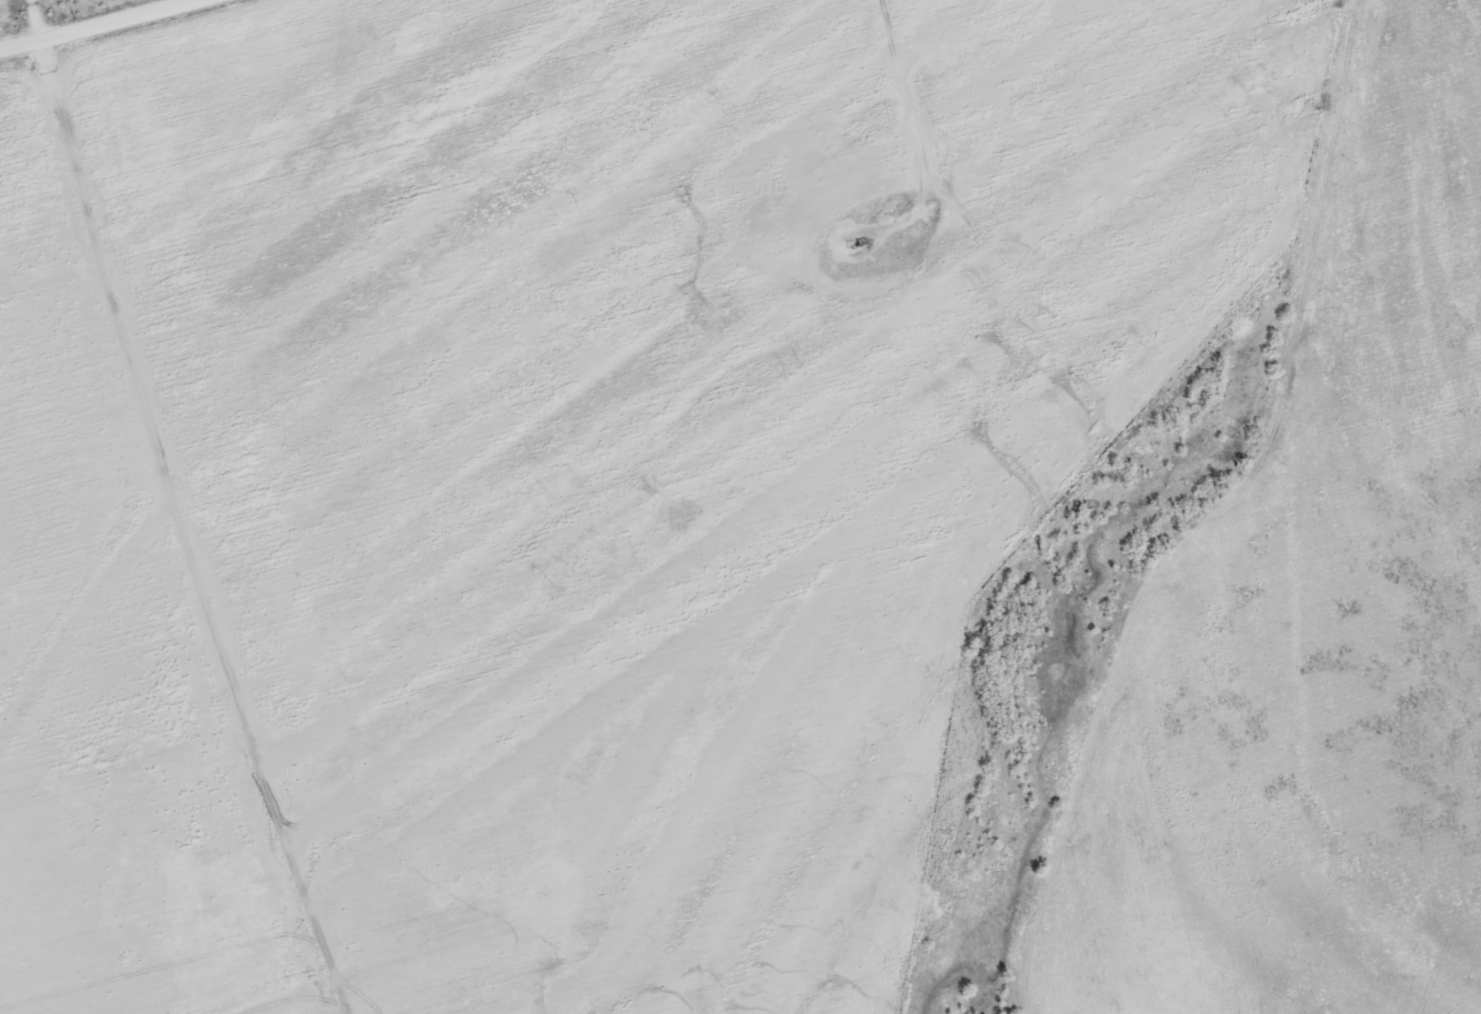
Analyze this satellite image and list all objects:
road: (157, 41)
road: (161, 506)

